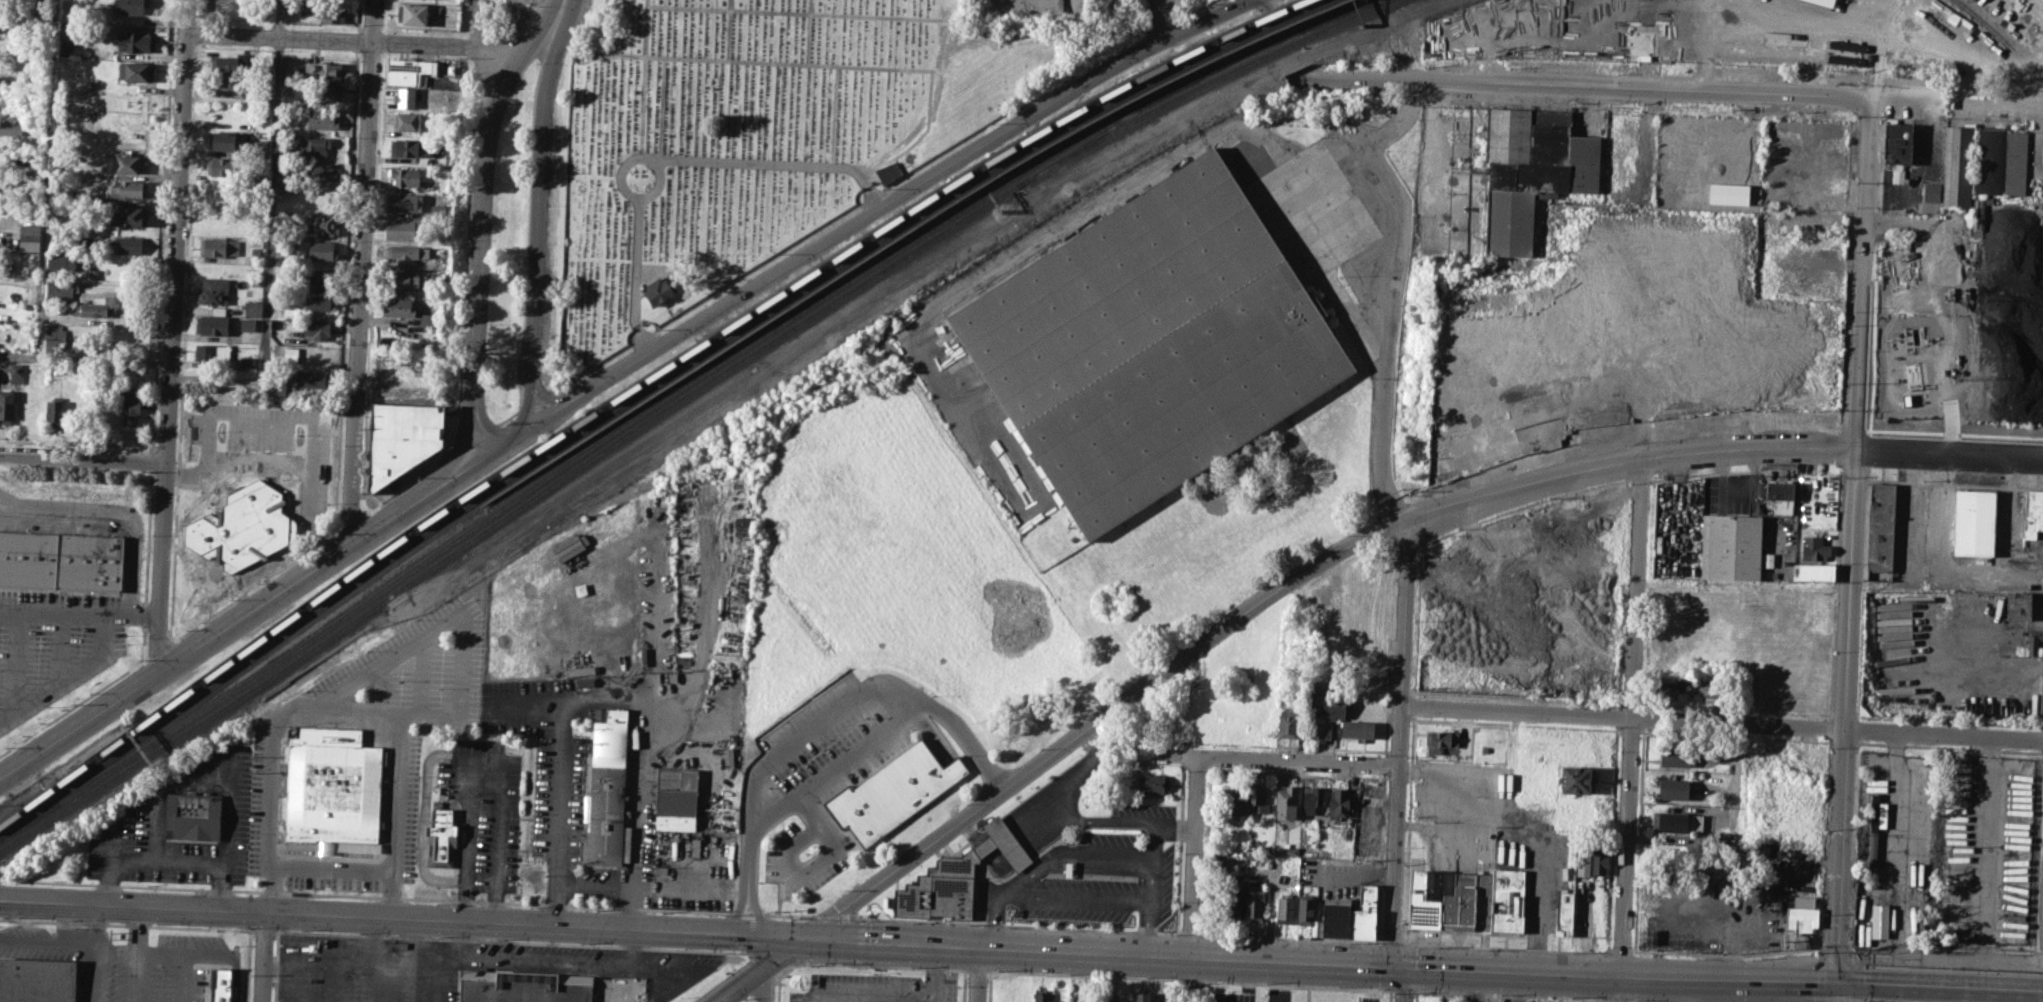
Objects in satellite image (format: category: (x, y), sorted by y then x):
building: (42, 2)
building: (1830, 2)
road: (1271, 5)
building: (132, 6)
road: (562, 7)
building: (331, 11)
road: (798, 12)
building: (413, 13)
railway: (1334, 14)
railway: (1339, 14)
road: (279, 19)
road: (509, 21)
road: (1791, 22)
road: (477, 24)
building: (1624, 28)
road: (728, 29)
road: (808, 31)
railway: (1280, 34)
railway: (2002, 39)
road: (347, 40)
building: (135, 41)
railway: (1247, 53)
road: (771, 62)
building: (228, 64)
building: (413, 66)
building: (136, 71)
building: (322, 71)
building: (406, 78)
road: (643, 78)
railway: (1200, 85)
building: (227, 86)
road: (1668, 90)
building: (321, 92)
building: (409, 98)
road: (834, 115)
building: (321, 120)
building: (409, 121)
building: (10, 128)
railway: (1104, 130)
building: (222, 141)
park: (737, 144)
building: (1901, 144)
building: (312, 145)
building: (410, 146)
road: (1368, 146)
building: (260, 148)
road: (1185, 148)
road: (1428, 153)
road: (663, 158)
railway: (991, 160)
railway: (1008, 161)
building: (2002, 161)
building: (126, 163)
building: (224, 165)
building: (1959, 166)
building: (318, 171)
building: (888, 172)
building: (1533, 172)
building: (404, 176)
building: (261, 179)
road: (656, 183)
building: (129, 188)
building: (1822, 193)
building: (1934, 193)
road: (45, 196)
building: (319, 196)
building: (405, 202)
road: (881, 204)
building: (438, 211)
building: (133, 216)
road: (539, 220)
building: (324, 225)
road: (480, 225)
building: (405, 229)
building: (30, 232)
building: (128, 245)
building: (218, 246)
building: (255, 250)
building: (320, 250)
building: (2042, 251)
building: (407, 252)
road: (270, 253)
building: (62, 260)
road: (363, 271)
building: (94, 273)
building: (406, 279)
building: (255, 281)
building: (323, 284)
building: (61, 290)
building: (213, 290)
building: (657, 291)
building: (305, 302)
building: (399, 306)
building: (93, 308)
building: (253, 308)
building: (429, 319)
building: (248, 324)
building: (214, 325)
building: (317, 328)
road: (174, 334)
building: (54, 336)
building: (1153, 345)
building: (212, 351)
building: (292, 354)
building: (248, 361)
building: (16, 373)
building: (130, 378)
building: (313, 379)
building: (276, 390)
railway: (660, 400)
building: (6, 406)
building: (130, 408)
building: (55, 412)
road: (255, 423)
building: (401, 440)
building: (1495, 442)
road: (77, 443)
parking lot: (265, 448)
road: (84, 455)
road: (151, 460)
road: (286, 465)
railway: (577, 466)
building: (1781, 496)
building: (2030, 511)
road: (112, 514)
building: (1972, 522)
building: (741, 526)
building: (1881, 526)
building: (242, 528)
railway: (408, 534)
road: (1365, 538)
road: (1852, 538)
railway: (414, 542)
building: (1731, 546)
building: (1814, 548)
building: (61, 560)
building: (1812, 572)
road: (263, 604)
building: (2020, 605)
road: (70, 615)
road: (150, 616)
parking lot: (53, 646)
building: (2019, 646)
road: (61, 649)
road: (142, 649)
road: (19, 663)
road: (68, 678)
building: (1665, 689)
road: (602, 694)
building: (1326, 706)
road: (337, 708)
road: (834, 710)
road: (1724, 721)
building: (1288, 723)
building: (1357, 729)
road: (1629, 730)
building: (1320, 731)
building: (1440, 740)
road: (1403, 742)
road: (434, 754)
building: (1674, 756)
road: (1300, 761)
road: (834, 766)
road: (1077, 774)
road: (1734, 775)
railway: (64, 779)
parking lot: (817, 779)
building: (1576, 780)
building: (1153, 782)
parking lot: (463, 783)
road: (174, 786)
building: (608, 788)
railway: (67, 789)
building: (1673, 789)
building: (335, 791)
building: (894, 793)
railway: (70, 794)
building: (1257, 798)
building: (1311, 798)
building: (1235, 800)
building: (1285, 800)
building: (677, 801)
building: (1338, 801)
road: (1430, 801)
railway: (73, 803)
parking lot: (142, 804)
parking lot: (486, 811)
building: (1878, 813)
building: (193, 816)
road: (1115, 821)
building: (1669, 821)
road: (1487, 824)
road: (494, 828)
road: (1174, 829)
building: (1794, 832)
building: (441, 839)
building: (1286, 850)
road: (1071, 852)
building: (1600, 860)
building: (1583, 862)
road: (186, 863)
road: (1151, 868)
road: (329, 869)
parking lot: (1096, 871)
building: (957, 878)
road: (1193, 879)
road: (595, 885)
road: (1071, 897)
building: (1236, 898)
building: (1507, 899)
building: (1483, 900)
building: (1254, 902)
building: (1460, 903)
building: (1421, 904)
road: (1537, 905)
road: (132, 906)
building: (1284, 908)
building: (1305, 908)
road: (735, 911)
road: (756, 911)
building: (1564, 912)
building: (1363, 913)
building: (1800, 914)
building: (1336, 916)
flagpole: (939, 918)
road: (64, 920)
road: (533, 924)
road: (135, 930)
road: (32, 940)
road: (310, 955)
road: (96, 956)
road: (206, 956)
road: (263, 957)
road: (371, 957)
road: (417, 959)
road: (528, 962)
road: (1317, 963)
road: (642, 967)
road: (757, 969)
road: (934, 973)
road: (978, 974)
road: (134, 977)
road: (180, 978)
building: (38, 980)
road: (437, 980)
road: (1850, 981)
road: (767, 982)
road: (1405, 984)
building: (220, 985)
road: (1954, 985)
building: (525, 987)
parking lot: (875, 988)
road: (1833, 991)
road: (1839, 991)
road: (840, 993)
road: (901, 995)
road: (1508, 995)
building: (1041, 996)
building: (1143, 997)
building: (1161, 997)
parking lot: (1228, 997)
parking lot: (1441, 998)
parking lot: (1370, 999)
road: (1619, 1000)
road: (1642, 1001)

